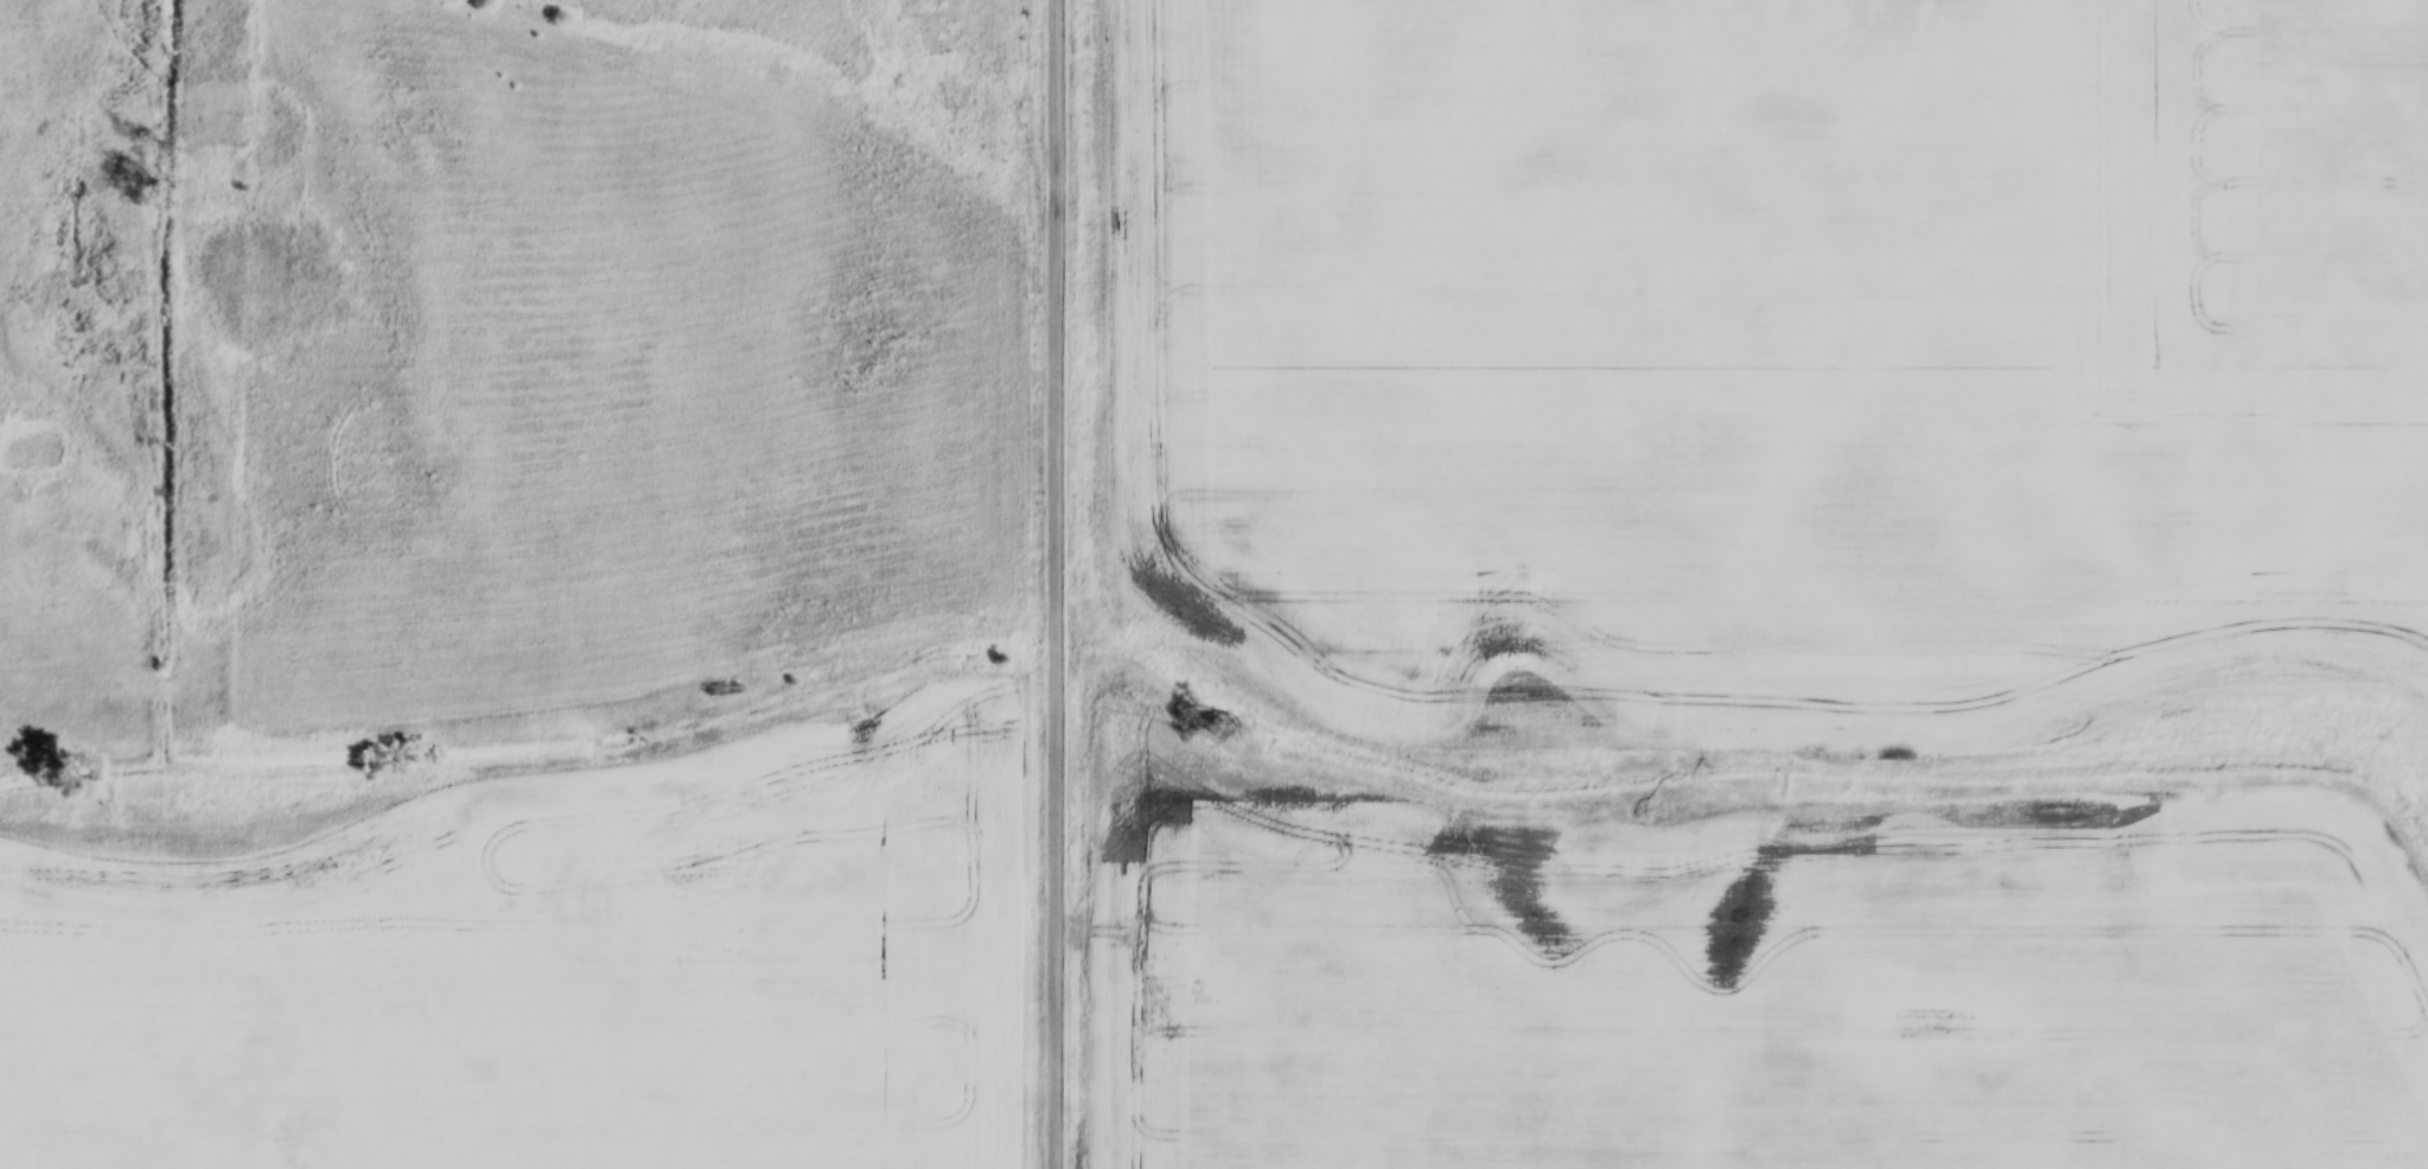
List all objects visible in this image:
road: (1057, 583)

